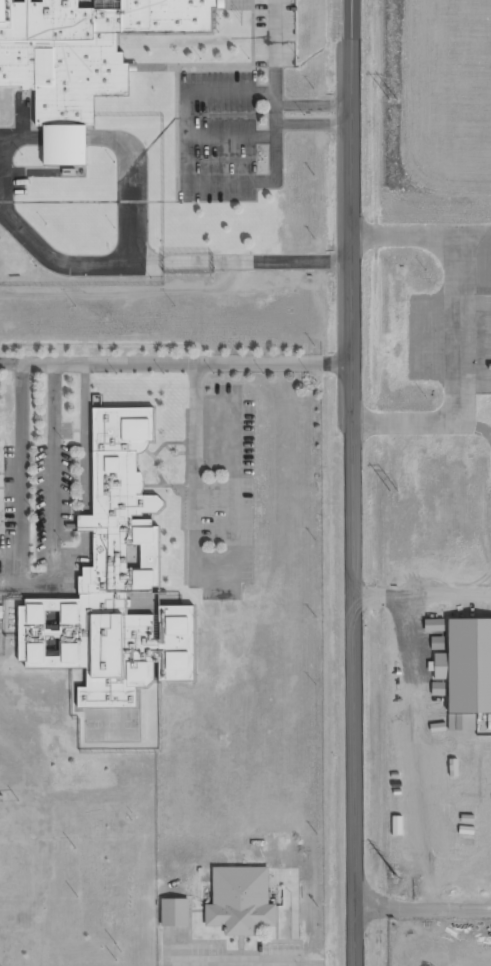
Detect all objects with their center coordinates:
building: (80, 59)
power tower: (395, 100)
road: (175, 365)
road: (84, 438)
road: (351, 483)
power tower: (397, 493)
road: (11, 554)
road: (78, 555)
road: (215, 582)
road: (11, 585)
road: (37, 585)
building: (115, 585)
building: (1, 612)
building: (0, 624)
building: (434, 626)
building: (466, 671)
building: (447, 794)
power tower: (399, 875)
building: (242, 900)
building: (175, 912)

